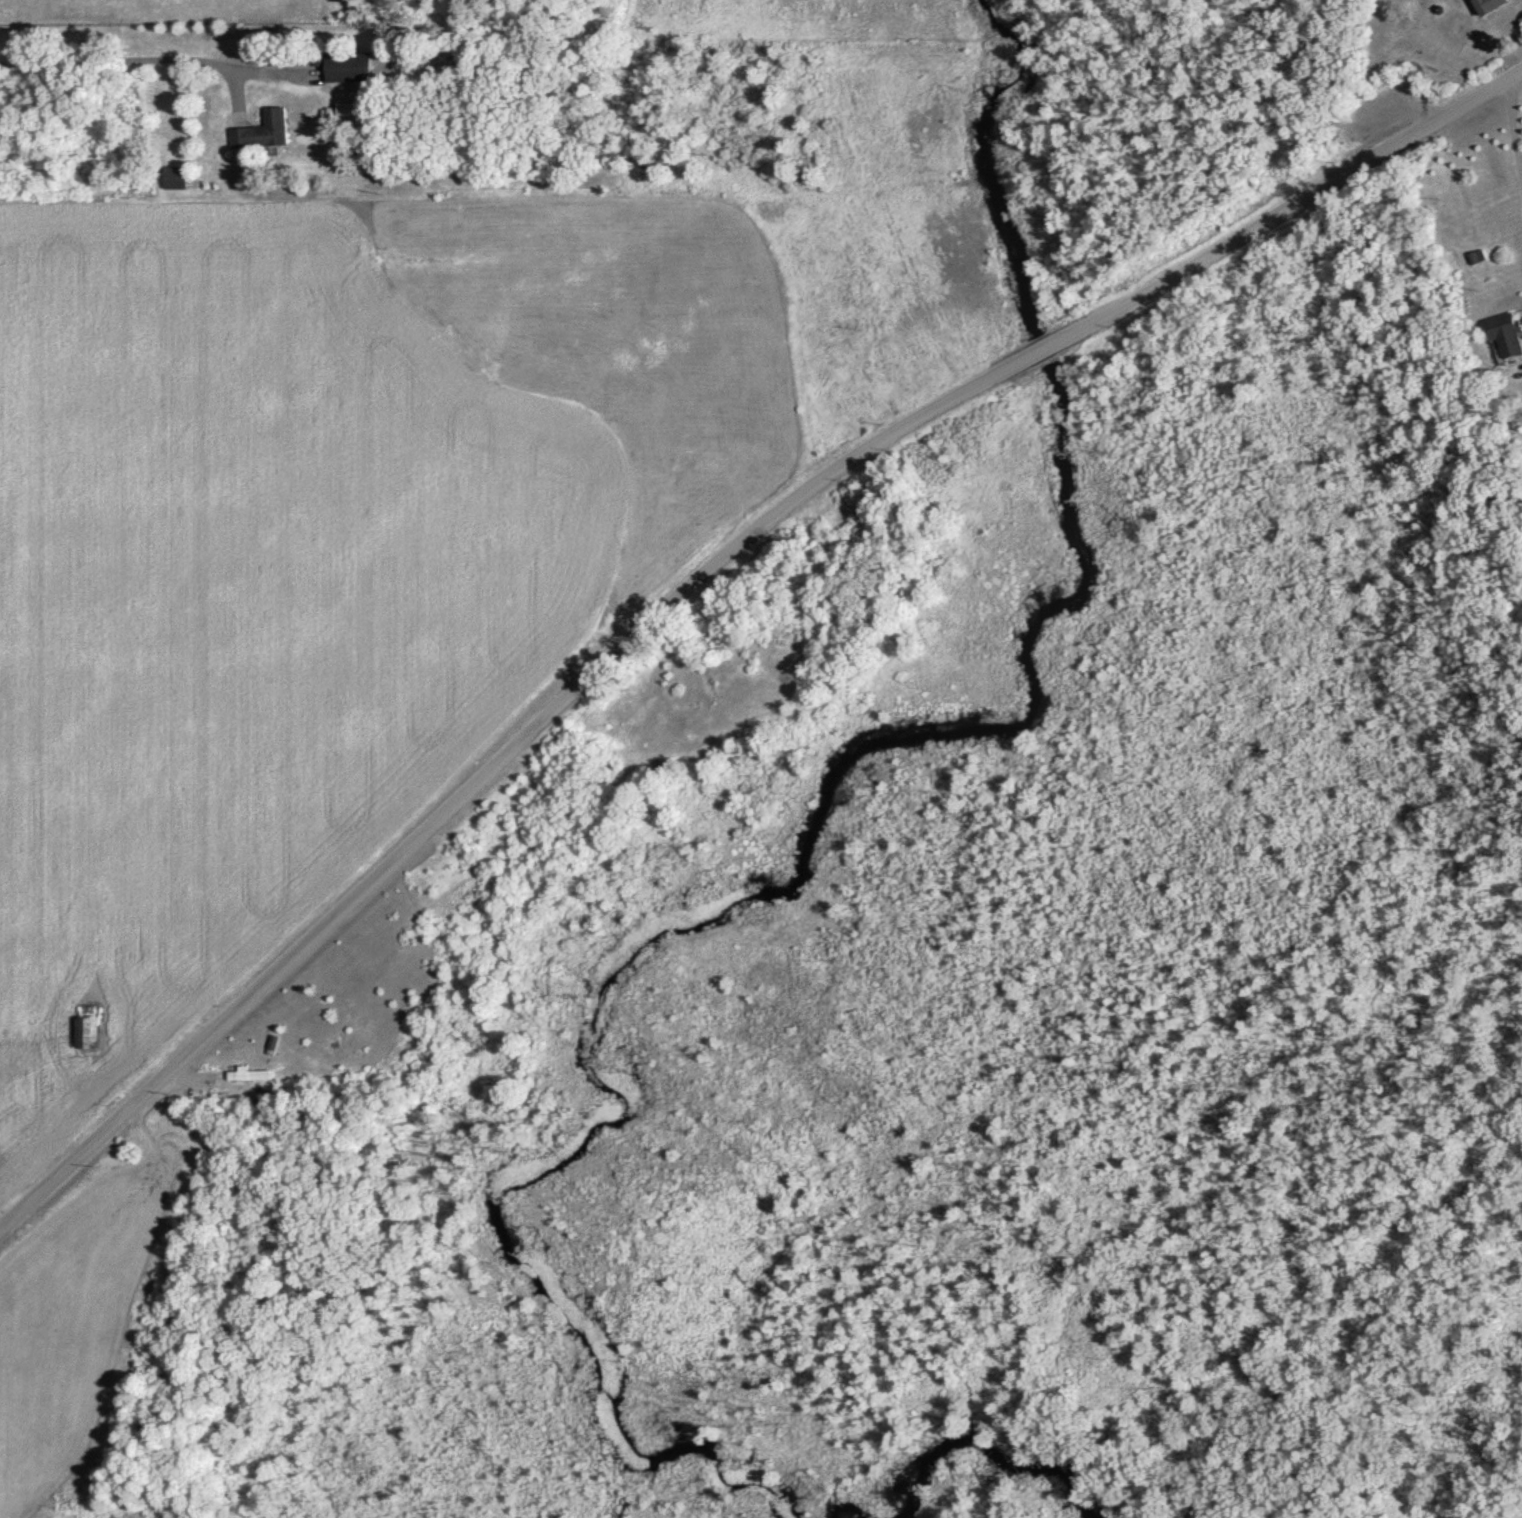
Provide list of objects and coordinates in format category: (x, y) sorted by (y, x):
building: (1488, 7)
building: (344, 69)
building: (262, 134)
building: (173, 179)
building: (1505, 338)
road: (706, 570)
building: (86, 1036)
building: (248, 1078)

